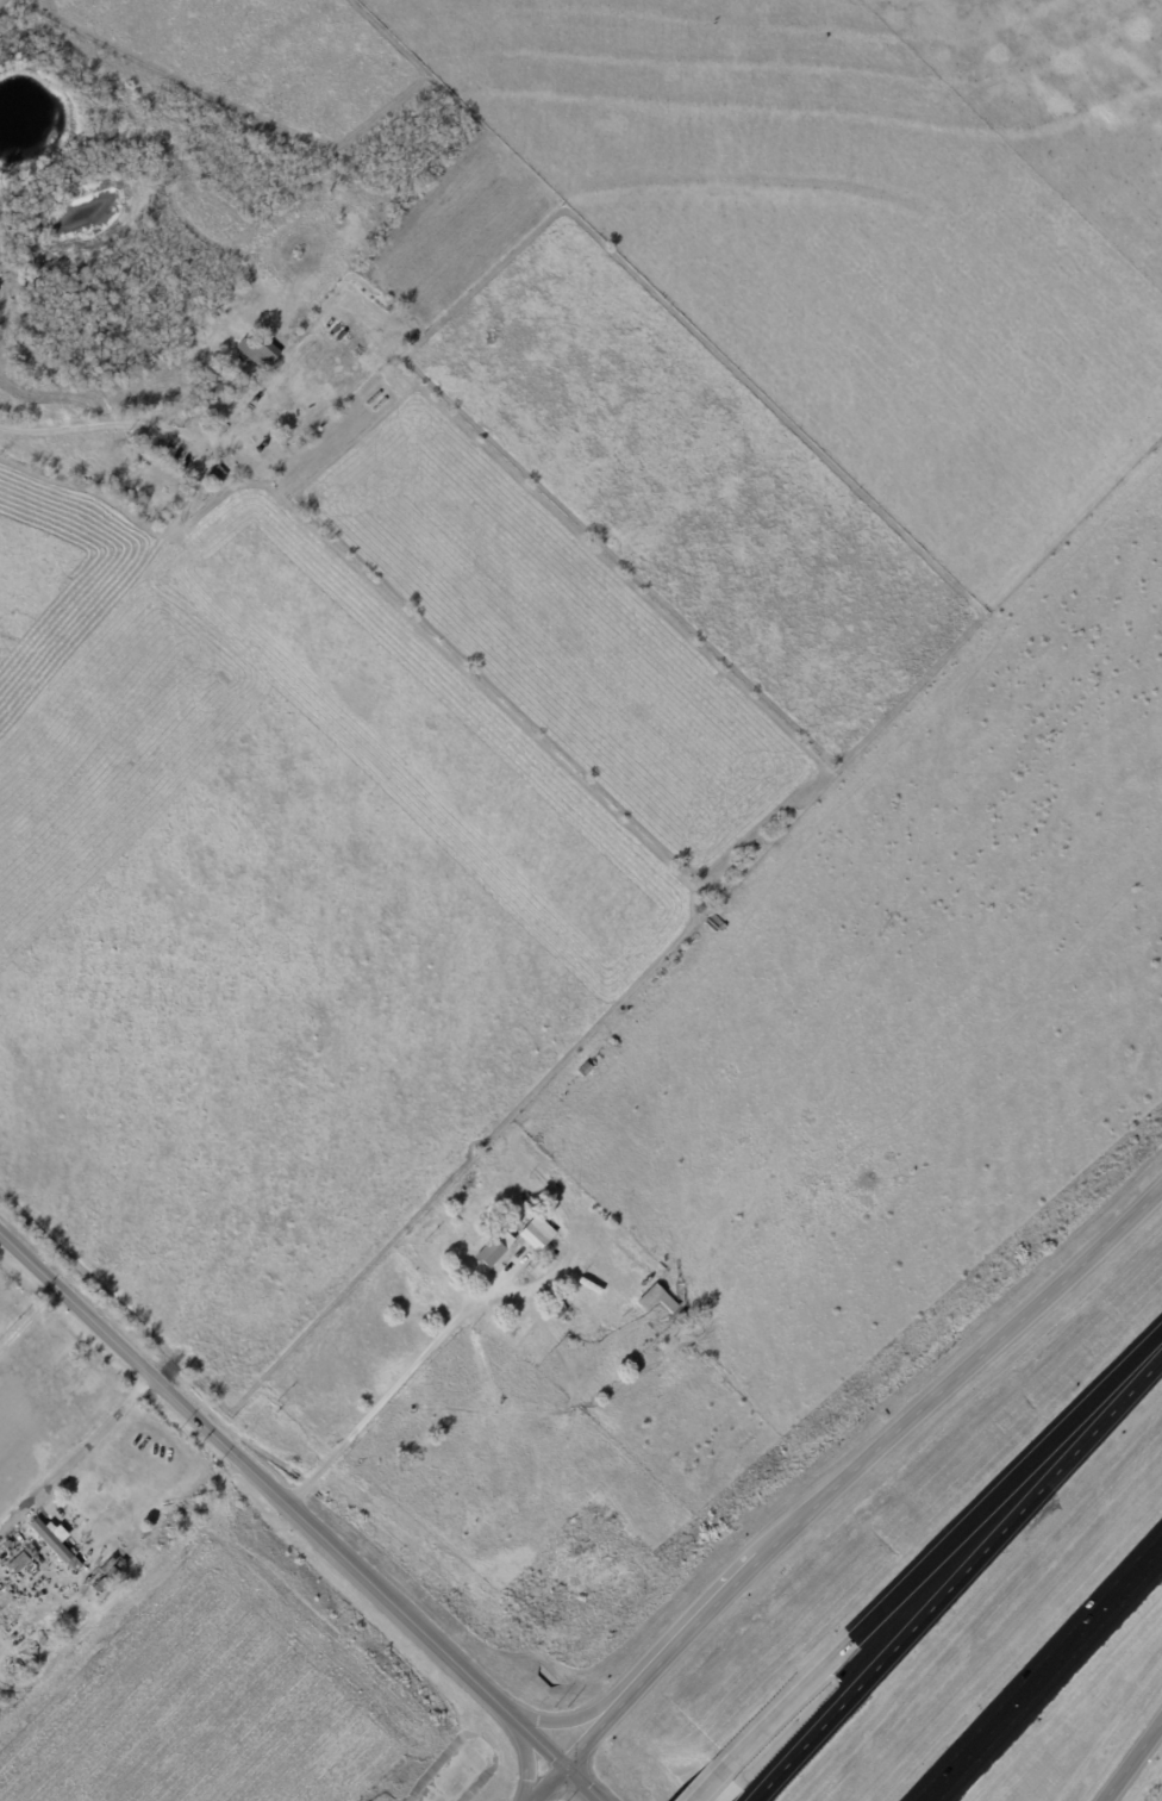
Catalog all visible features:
building: (258, 351)
road: (87, 428)
building: (215, 475)
building: (154, 478)
building: (127, 498)
building: (586, 1070)
building: (537, 1234)
building: (494, 1248)
building: (657, 1300)
building: (560, 1310)
building: (45, 1317)
building: (682, 1317)
road: (27, 1321)
building: (661, 1351)
road: (952, 1377)
road: (393, 1389)
road: (74, 1457)
road: (991, 1501)
road: (299, 1519)
building: (52, 1538)
road: (1161, 1546)
building: (15, 1562)
road: (956, 1577)
road: (687, 1634)
road: (1042, 1675)
road: (570, 1722)
road: (770, 1722)
road: (595, 1732)
road: (525, 1757)
road: (1131, 1761)
road: (546, 1783)
road: (707, 1787)

